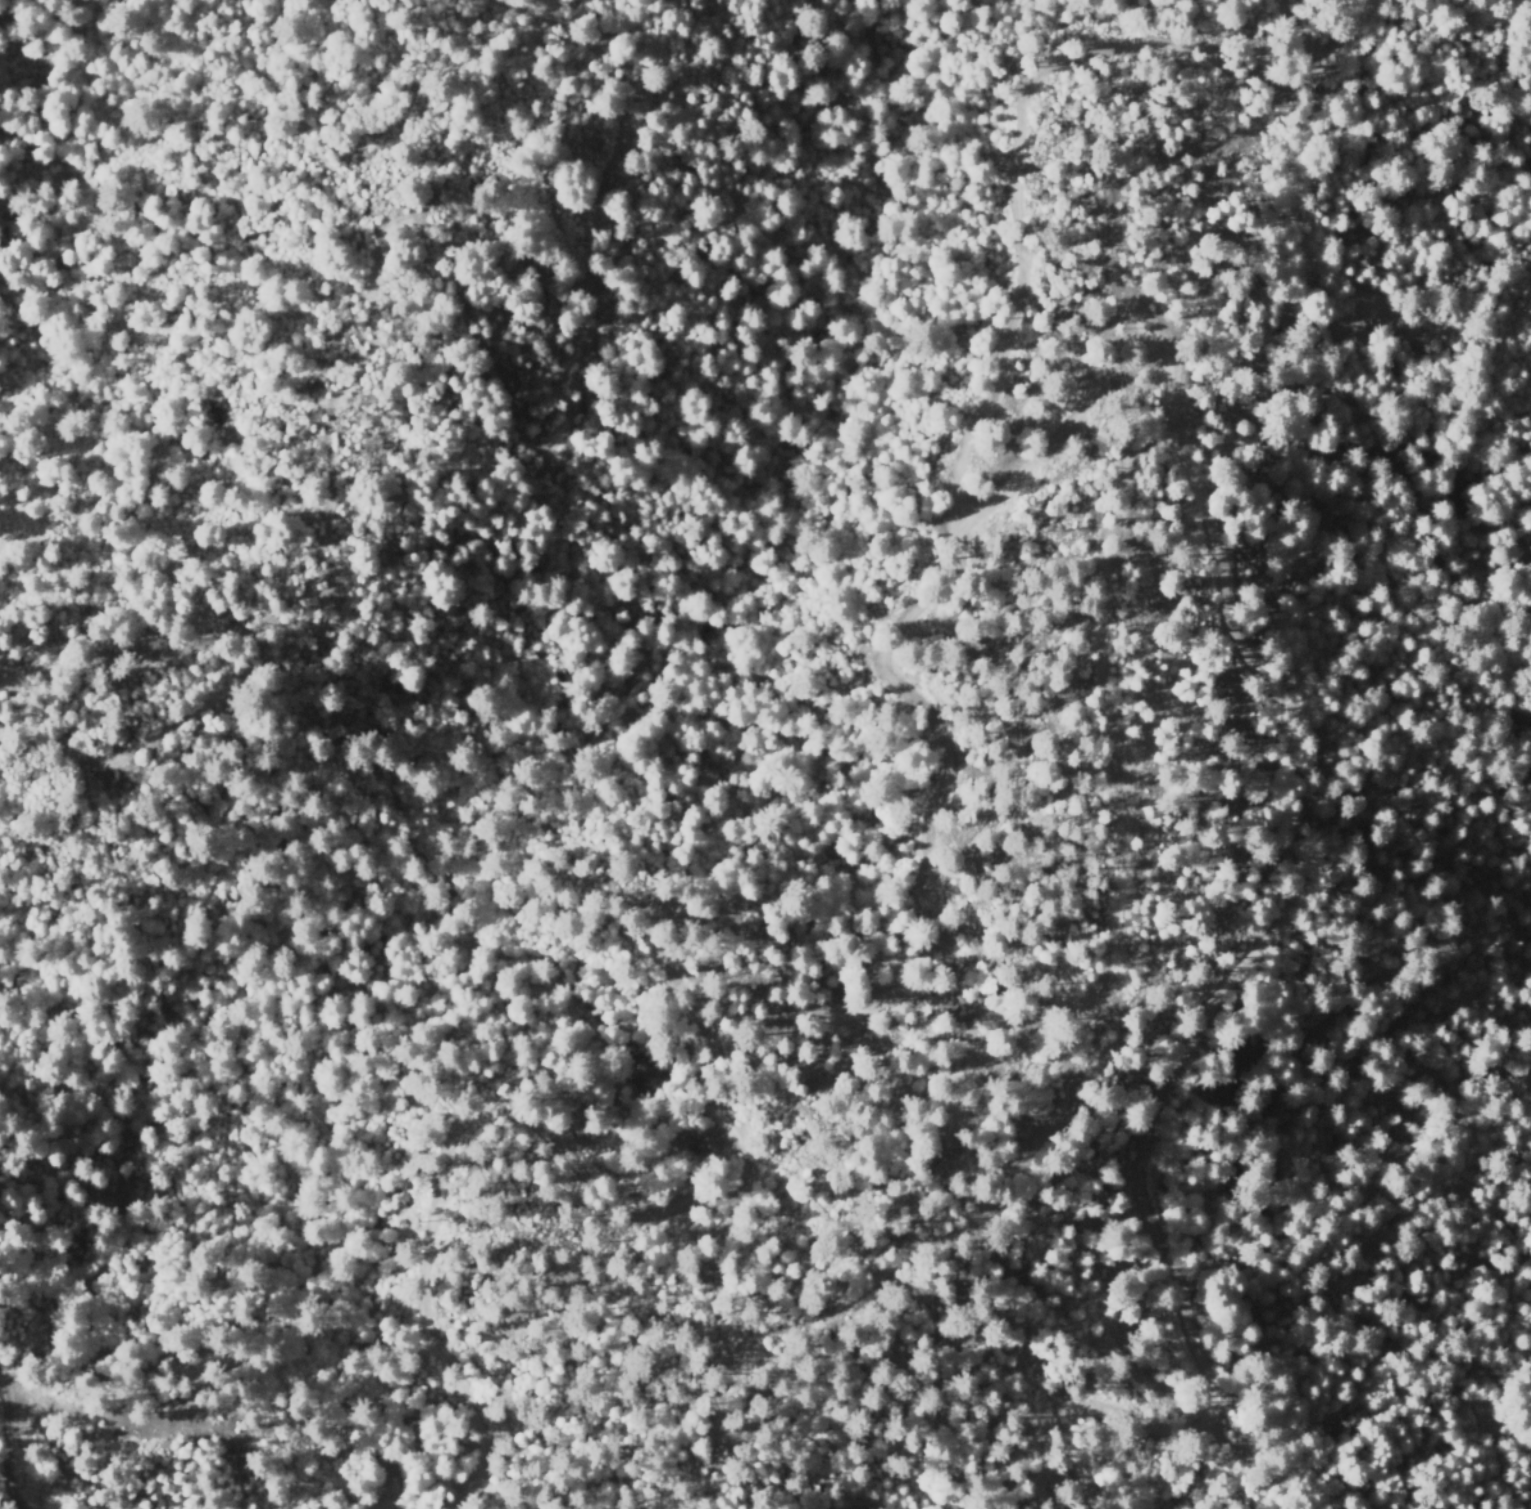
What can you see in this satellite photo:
road: (1022, 468)
river: (621, 681)
building: (1313, 825)
road: (1184, 1304)
road: (872, 1505)

